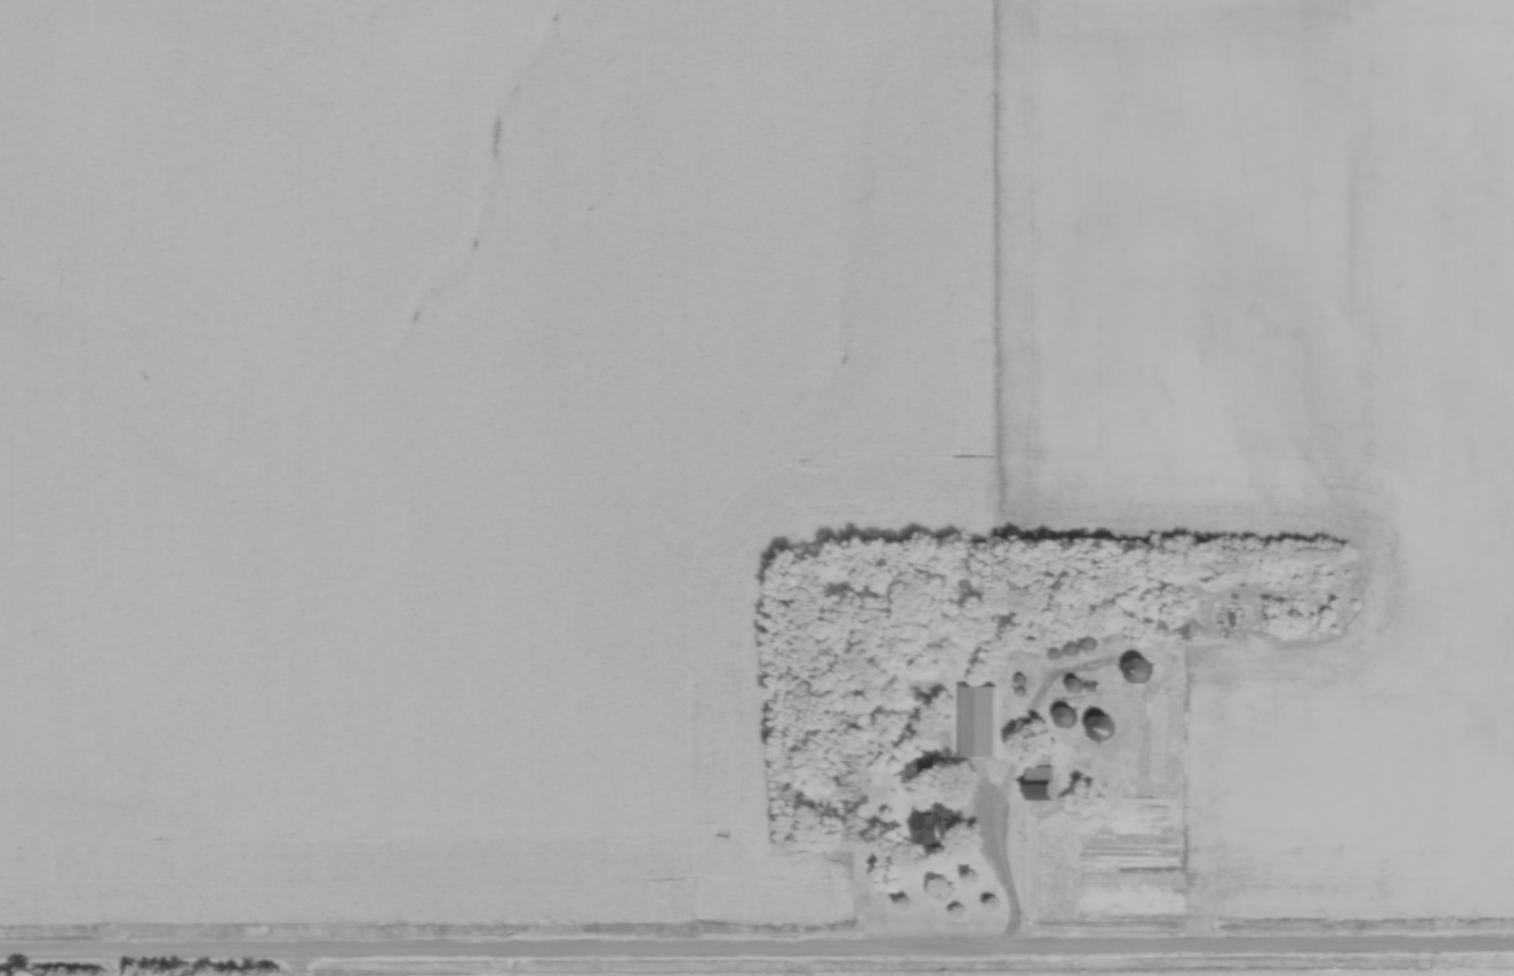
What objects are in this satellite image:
building: (1140, 666)
building: (1067, 715)
building: (980, 719)
building: (1104, 726)
building: (1042, 780)
building: (929, 821)
road: (997, 875)
road: (756, 943)
road: (124, 962)

